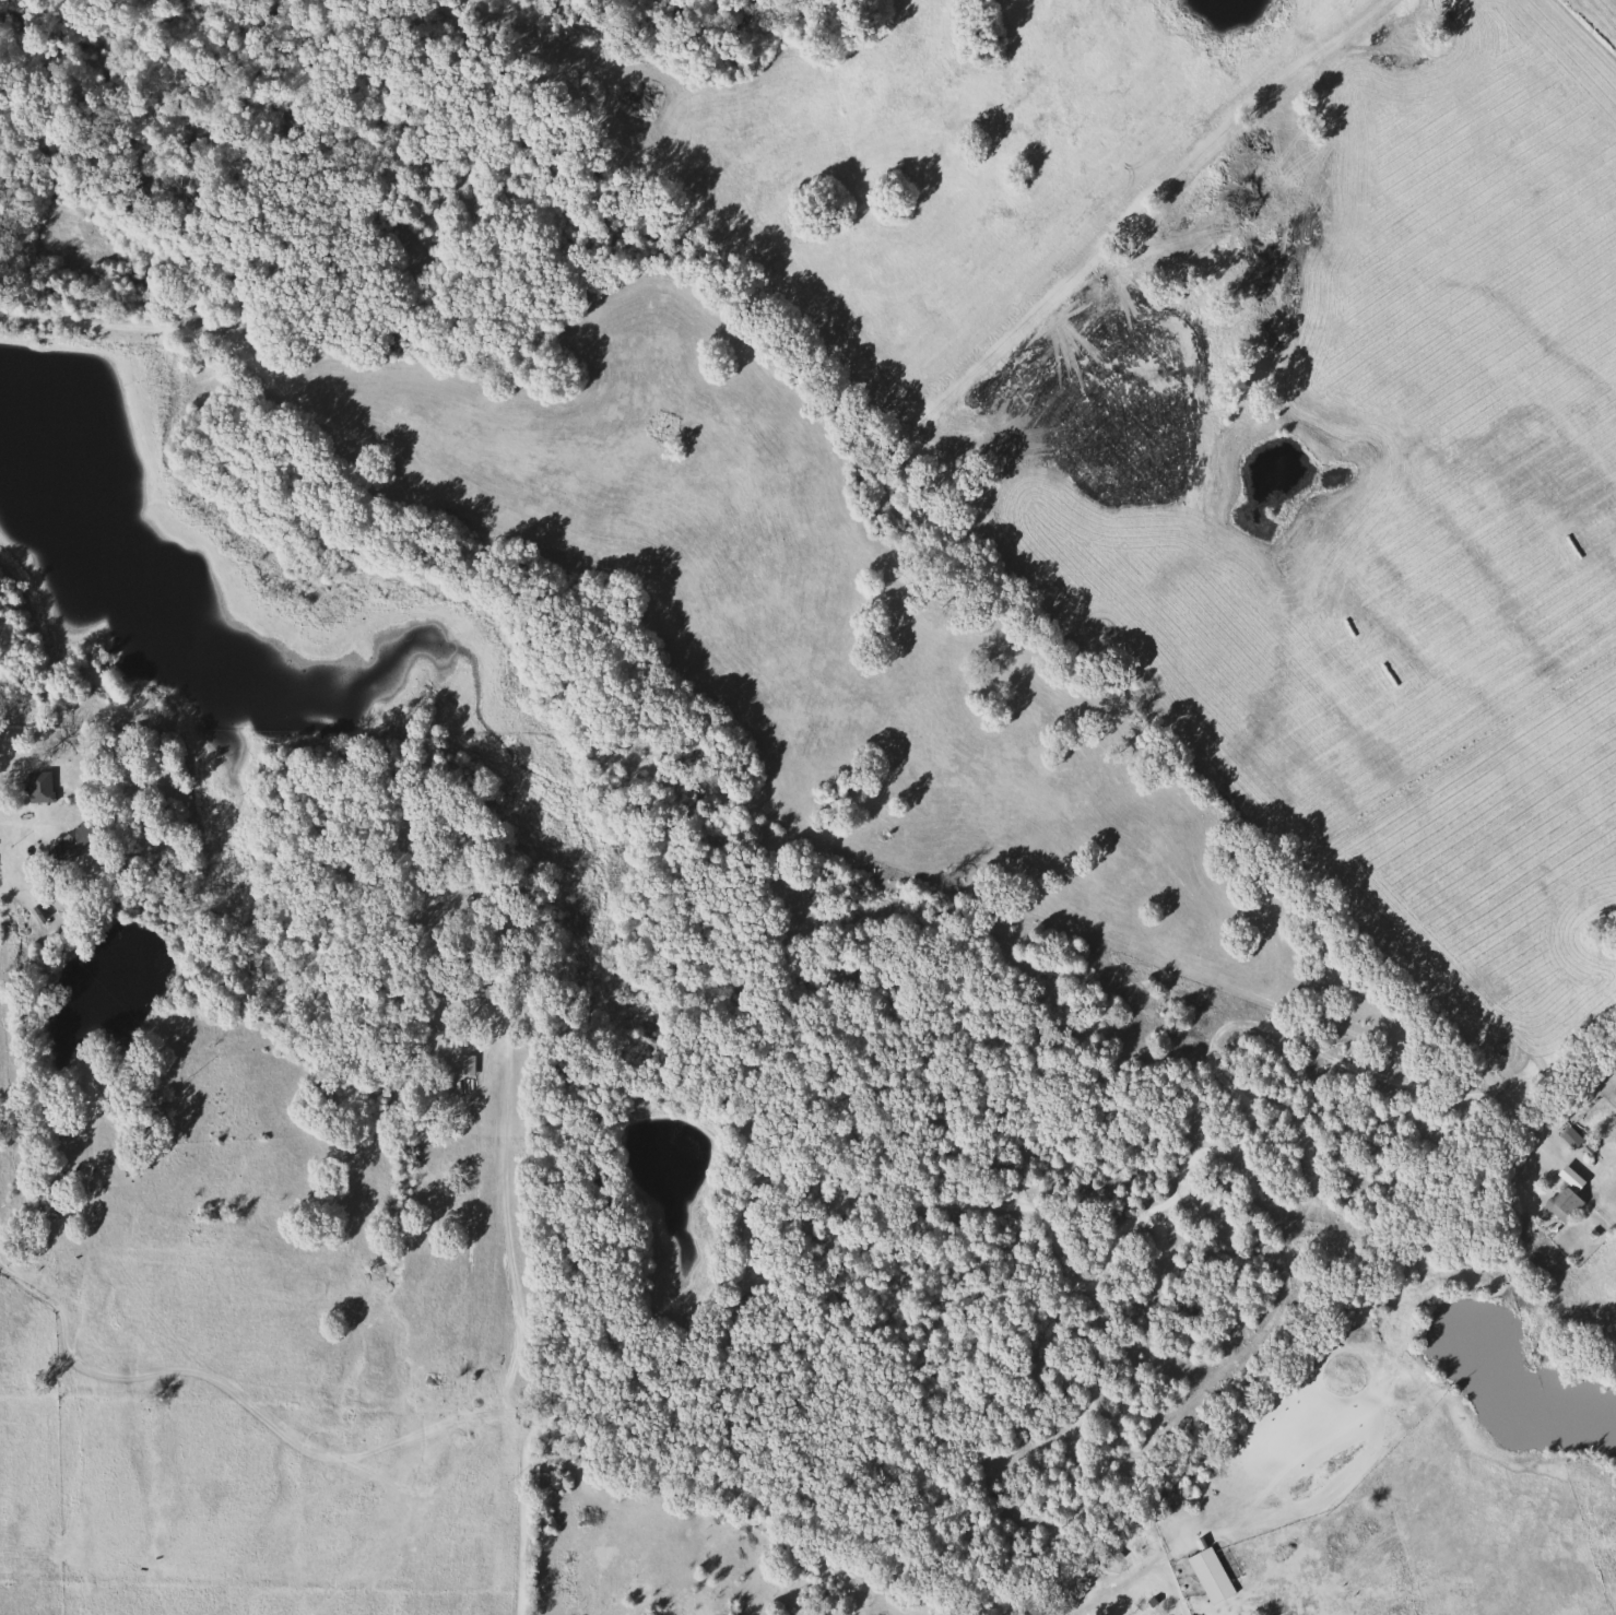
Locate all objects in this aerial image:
building: (71, 840)
road: (15, 885)
building: (1568, 1136)
building: (1560, 1203)
road: (512, 1229)
road: (1260, 1374)
road: (269, 1395)
road: (774, 1509)
road: (519, 1517)

